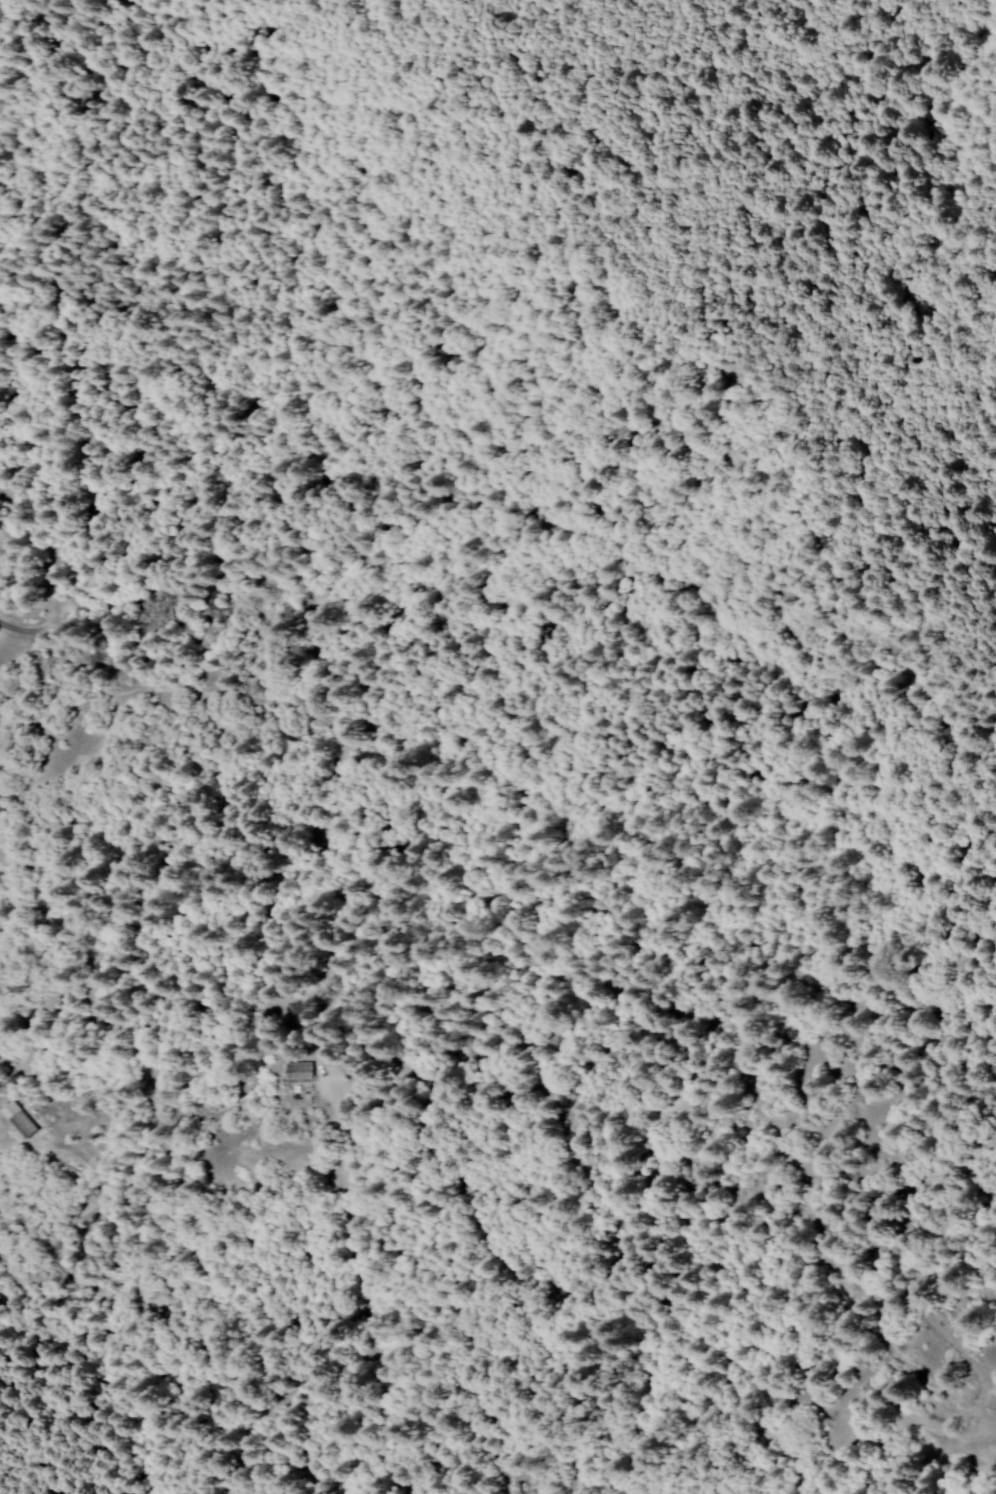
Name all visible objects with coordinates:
building: (17, 1120)

